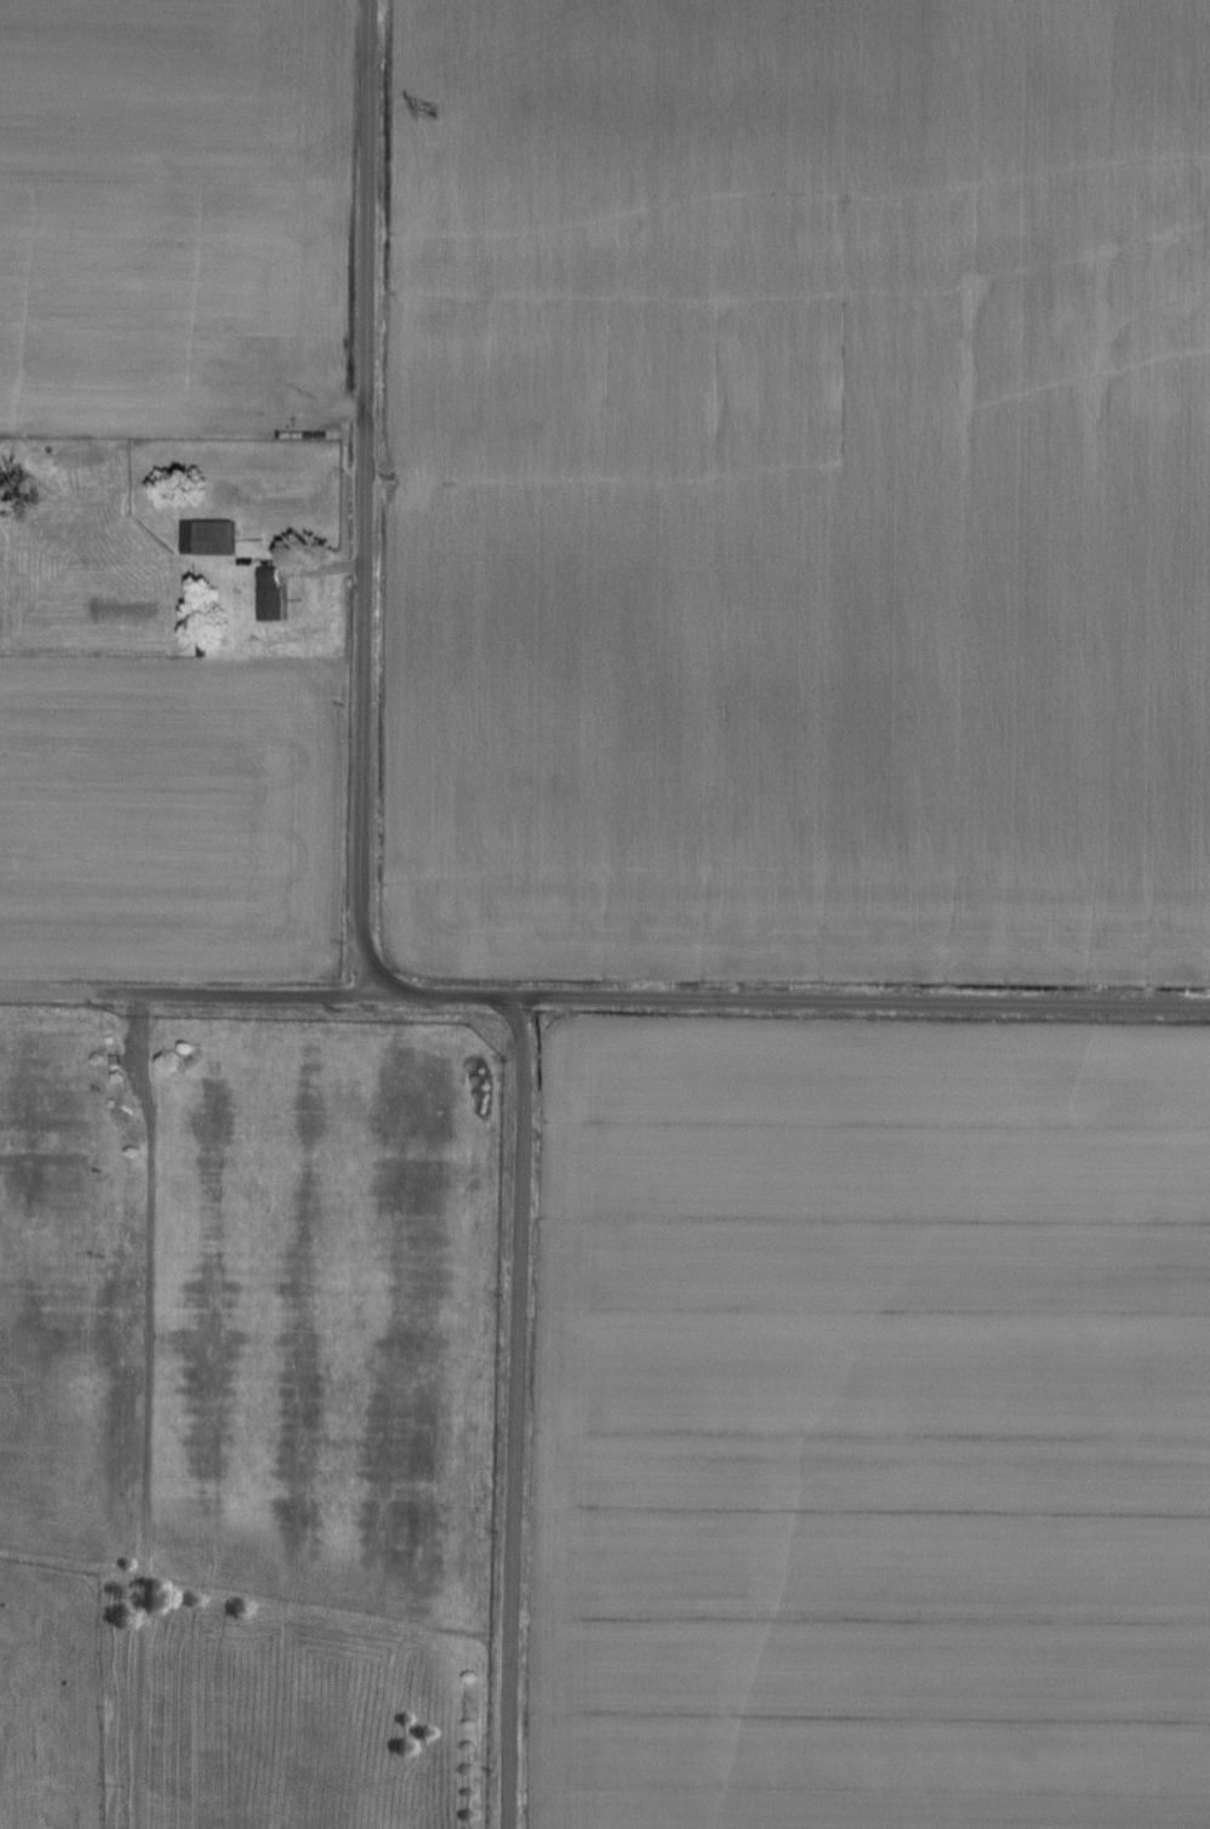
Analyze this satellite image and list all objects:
road: (366, 500)
building: (210, 537)
building: (270, 593)
road: (263, 996)
road: (868, 999)
road: (141, 1411)
road: (520, 1413)

